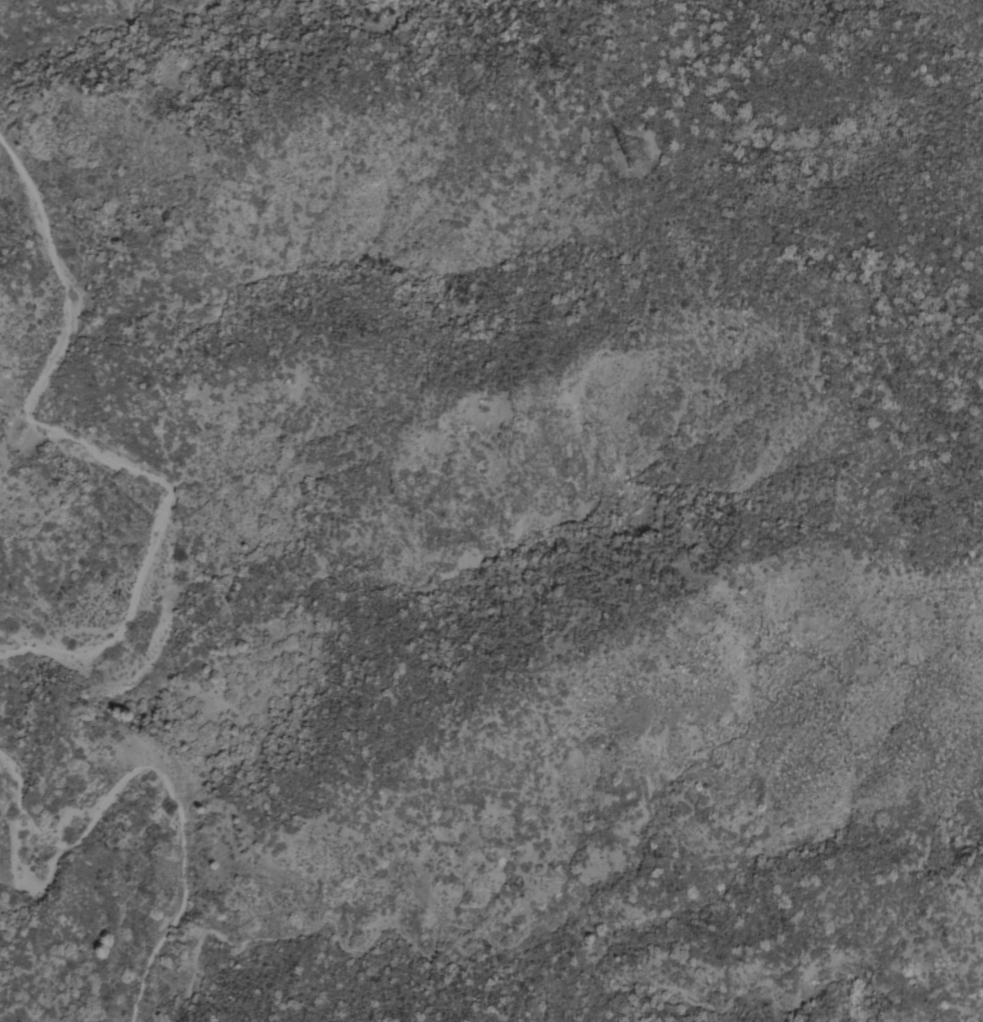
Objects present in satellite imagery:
power tower: (641, 136)

